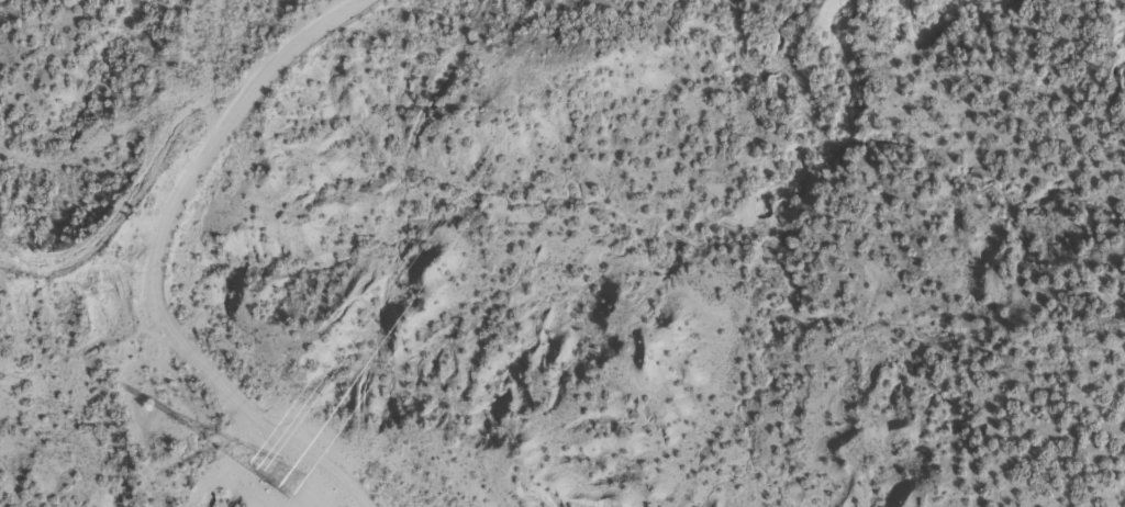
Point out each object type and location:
road: (259, 232)
road: (253, 417)
power tower: (281, 478)

